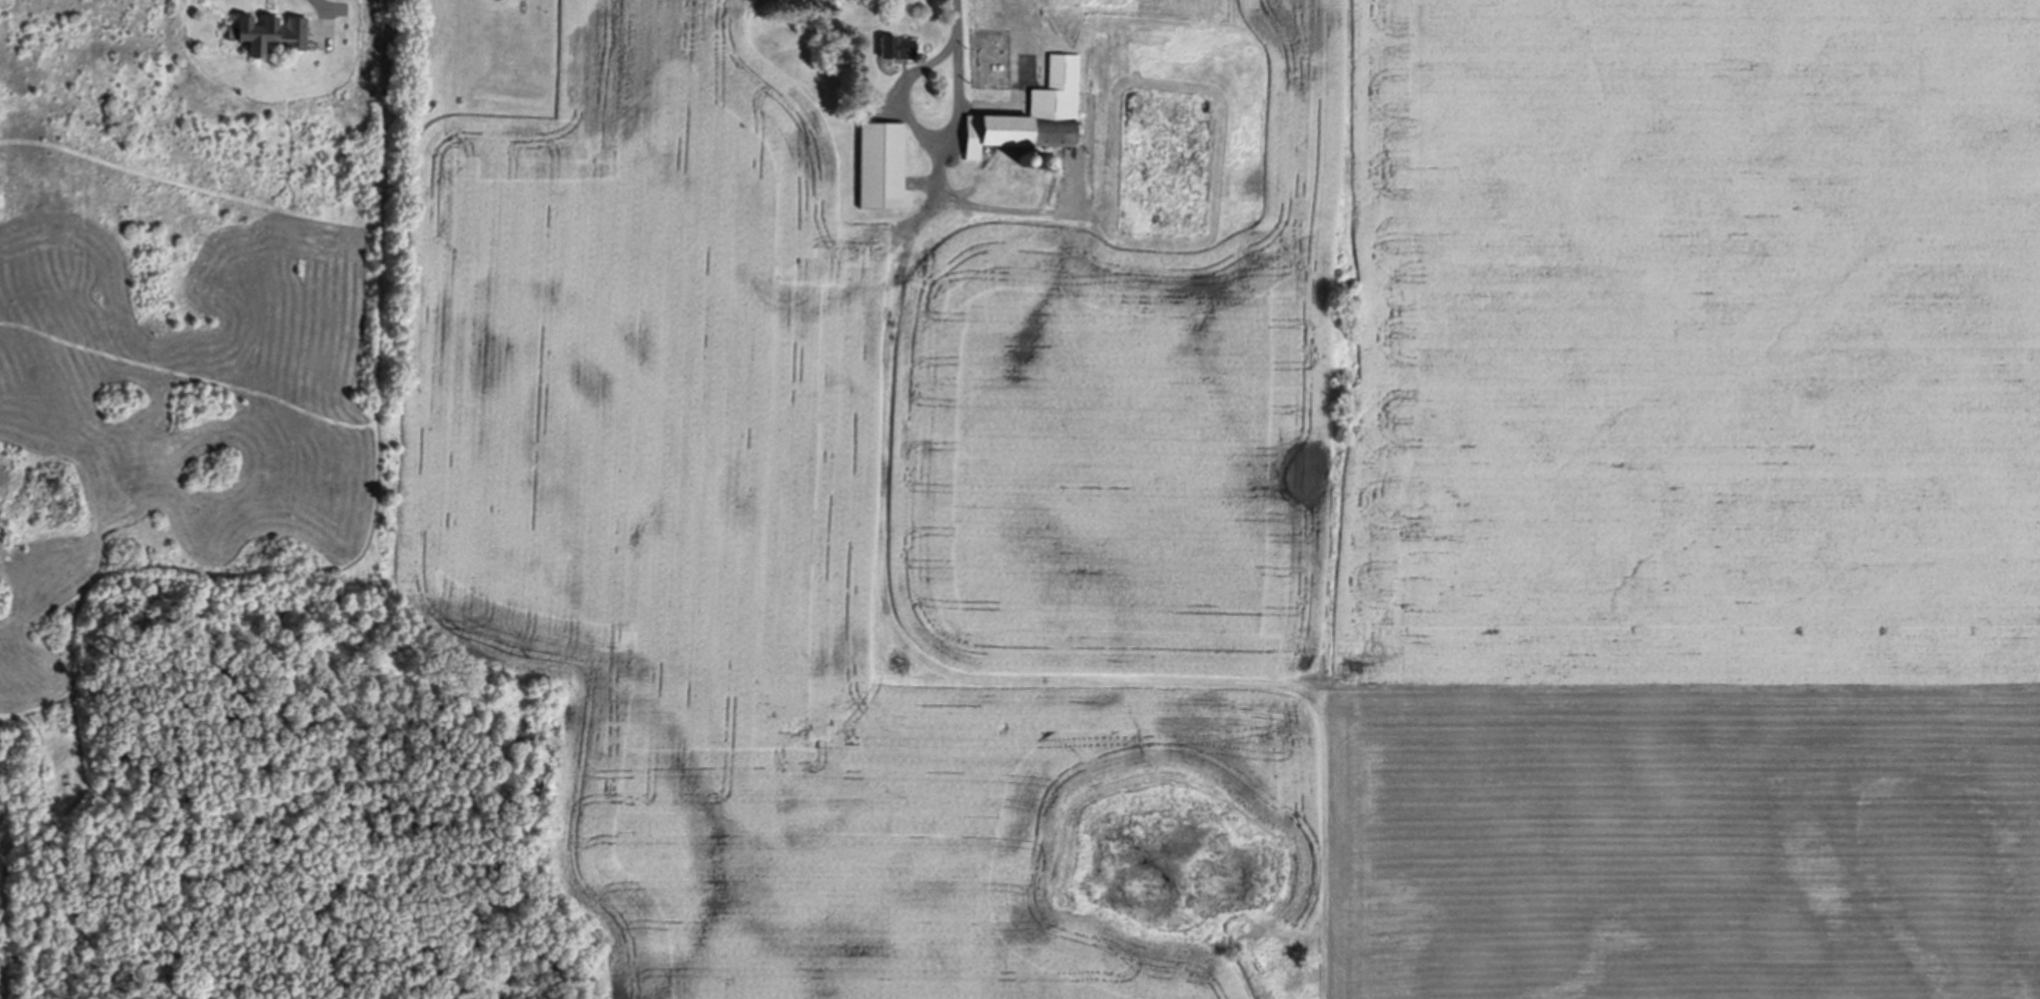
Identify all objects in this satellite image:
road: (326, 4)
building: (270, 32)
building: (896, 47)
road: (956, 49)
building: (428, 102)
building: (1034, 113)
building: (932, 122)
building: (1024, 159)
building: (1041, 160)
building: (882, 165)

